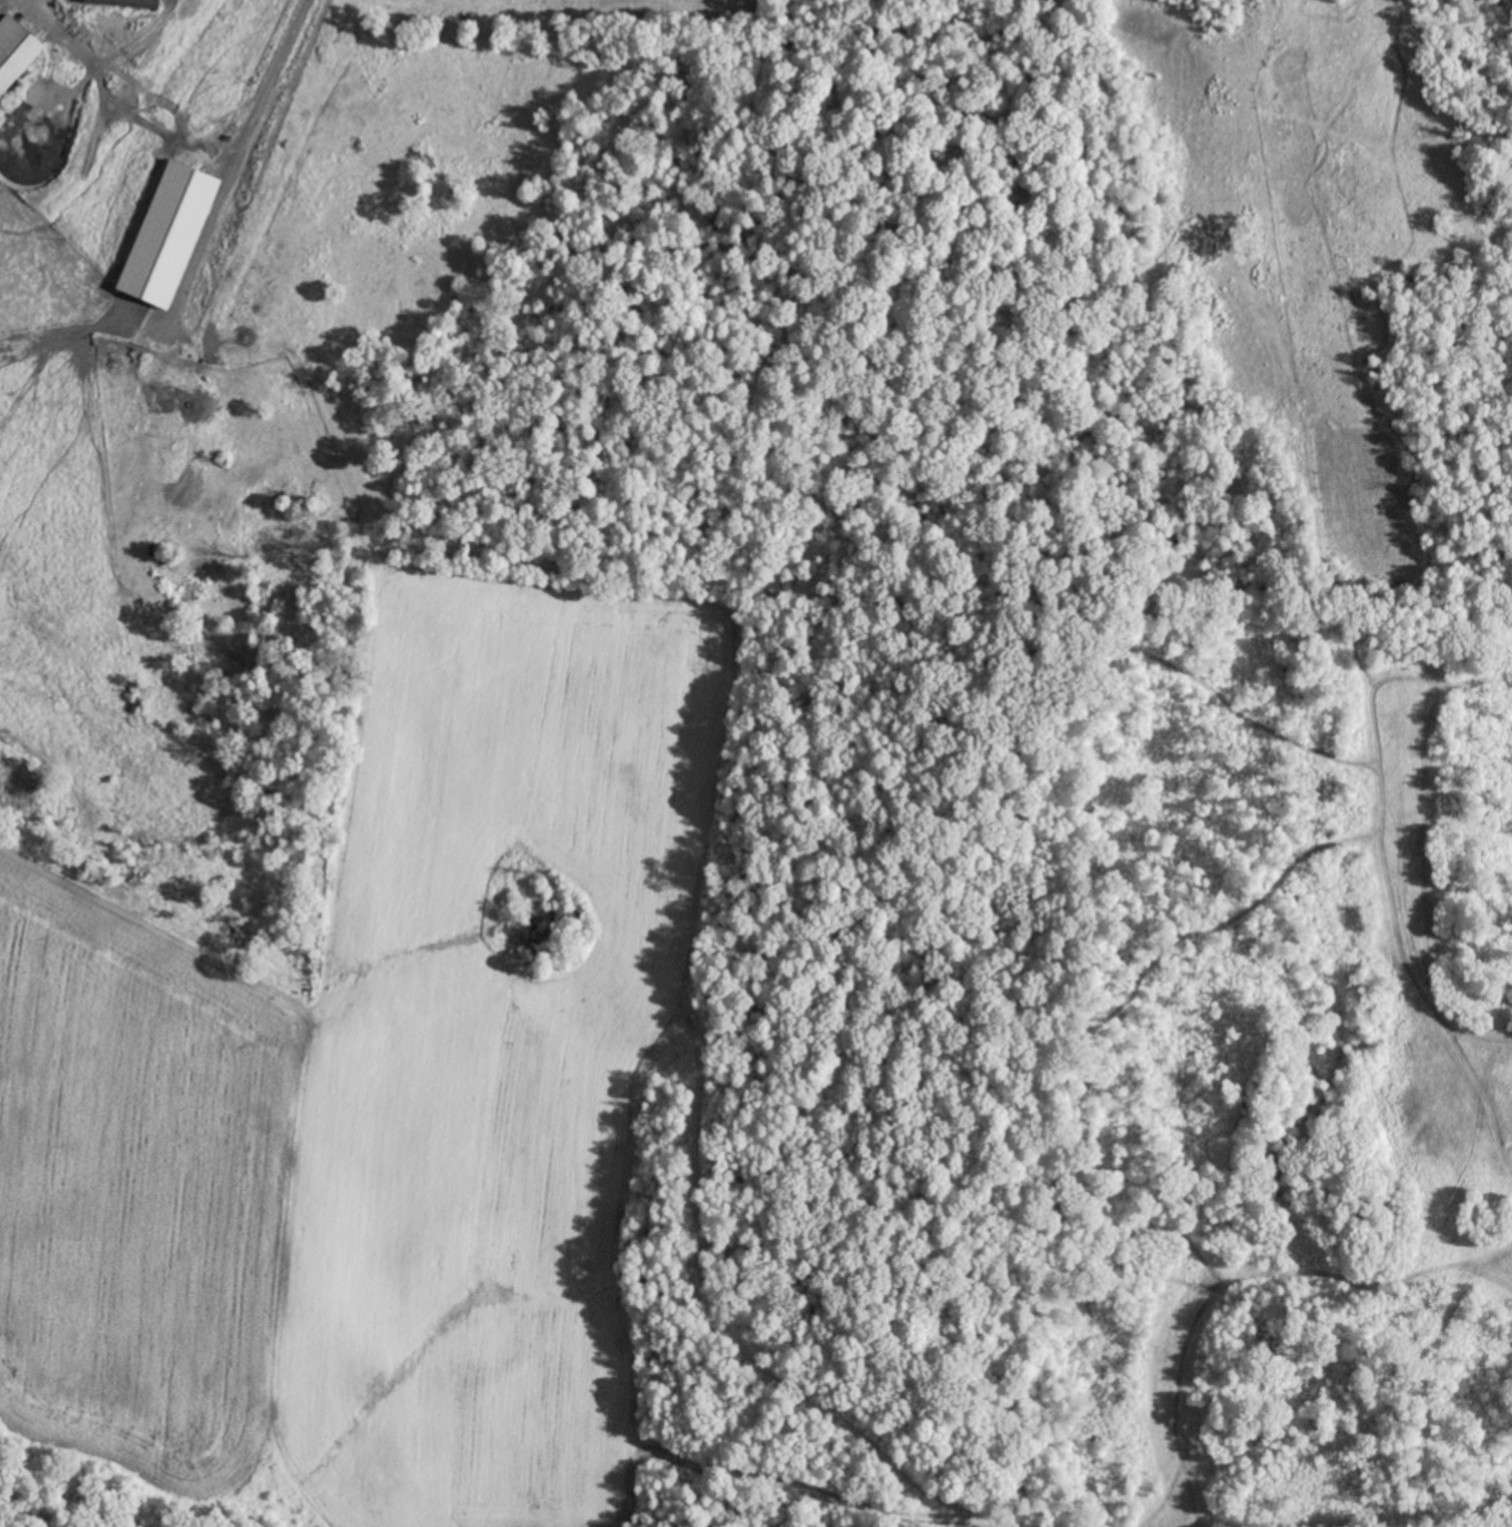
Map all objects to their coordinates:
building: (121, 5)
building: (13, 54)

